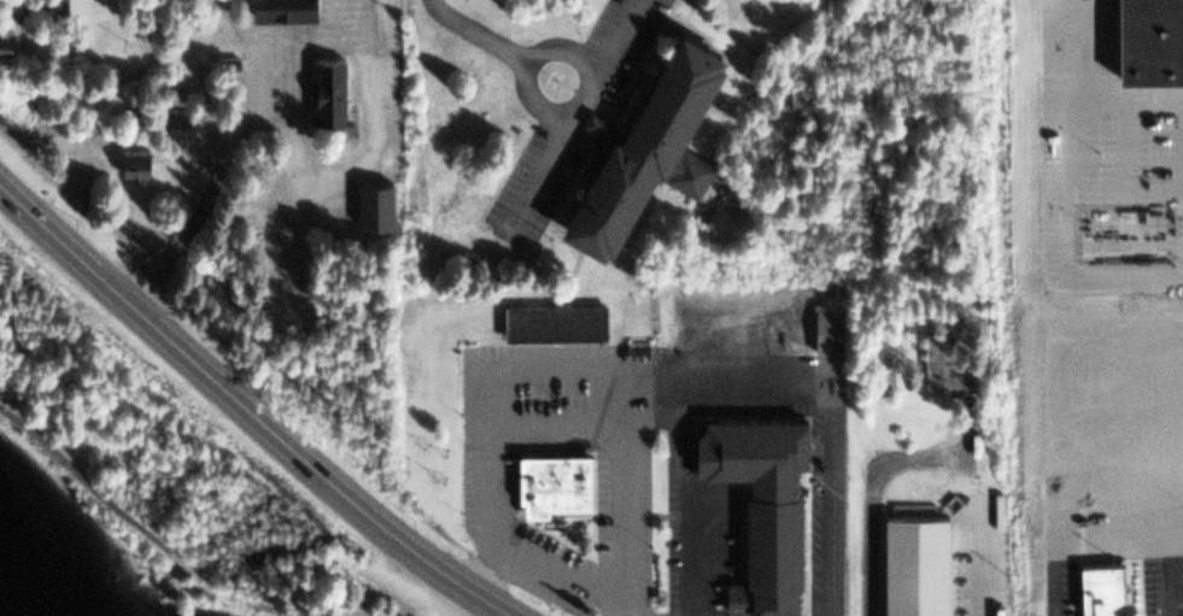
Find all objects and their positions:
building: (283, 10)
road: (478, 33)
road: (610, 36)
building: (1153, 39)
building: (6, 40)
building: (328, 90)
road: (558, 112)
building: (652, 142)
building: (135, 162)
road: (540, 169)
parking lot: (1112, 187)
road: (1056, 190)
road: (1124, 190)
building: (375, 204)
road: (1182, 247)
building: (549, 321)
building: (825, 327)
building: (939, 357)
road: (563, 371)
road: (815, 399)
road: (245, 410)
road: (551, 423)
park: (156, 476)
building: (554, 482)
road: (680, 493)
building: (761, 501)
road: (148, 535)
building: (915, 557)
road: (551, 577)
building: (1106, 588)

